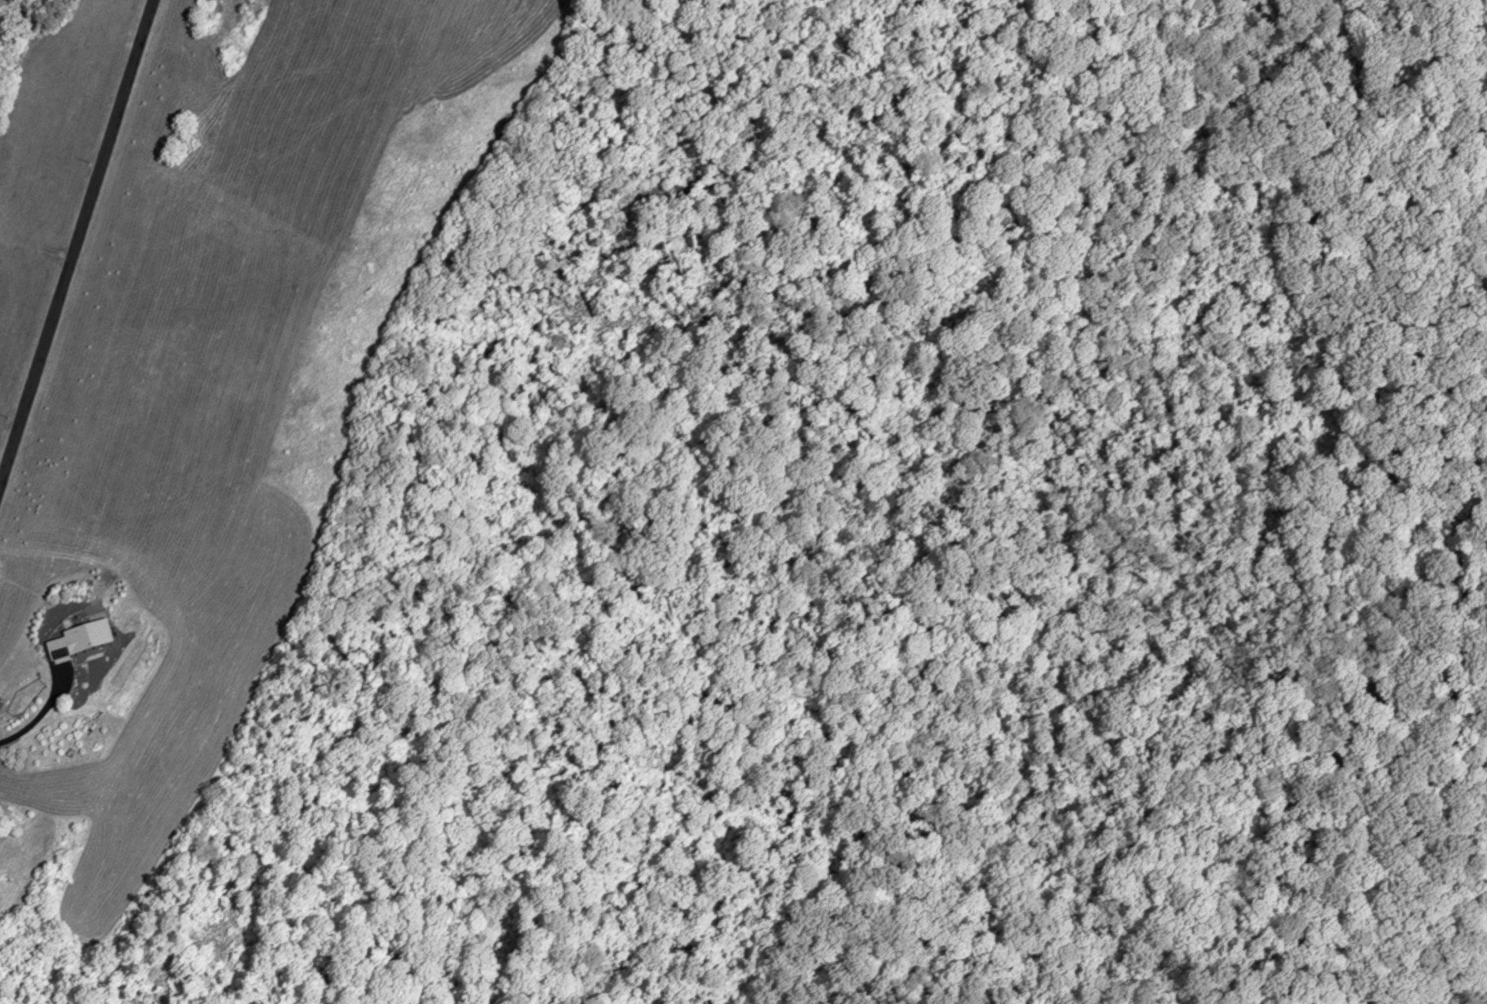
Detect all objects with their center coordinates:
road: (76, 241)
building: (82, 639)

